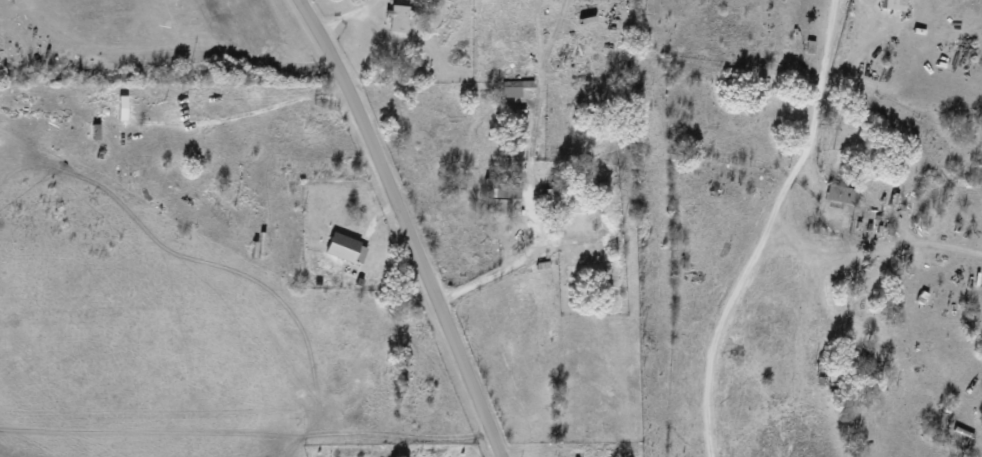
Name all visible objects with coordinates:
building: (894, 4)
road: (348, 16)
building: (400, 18)
building: (512, 89)
building: (109, 111)
building: (504, 186)
building: (841, 193)
building: (566, 199)
building: (500, 206)
road: (410, 226)
building: (345, 248)
road: (518, 261)
building: (572, 454)

